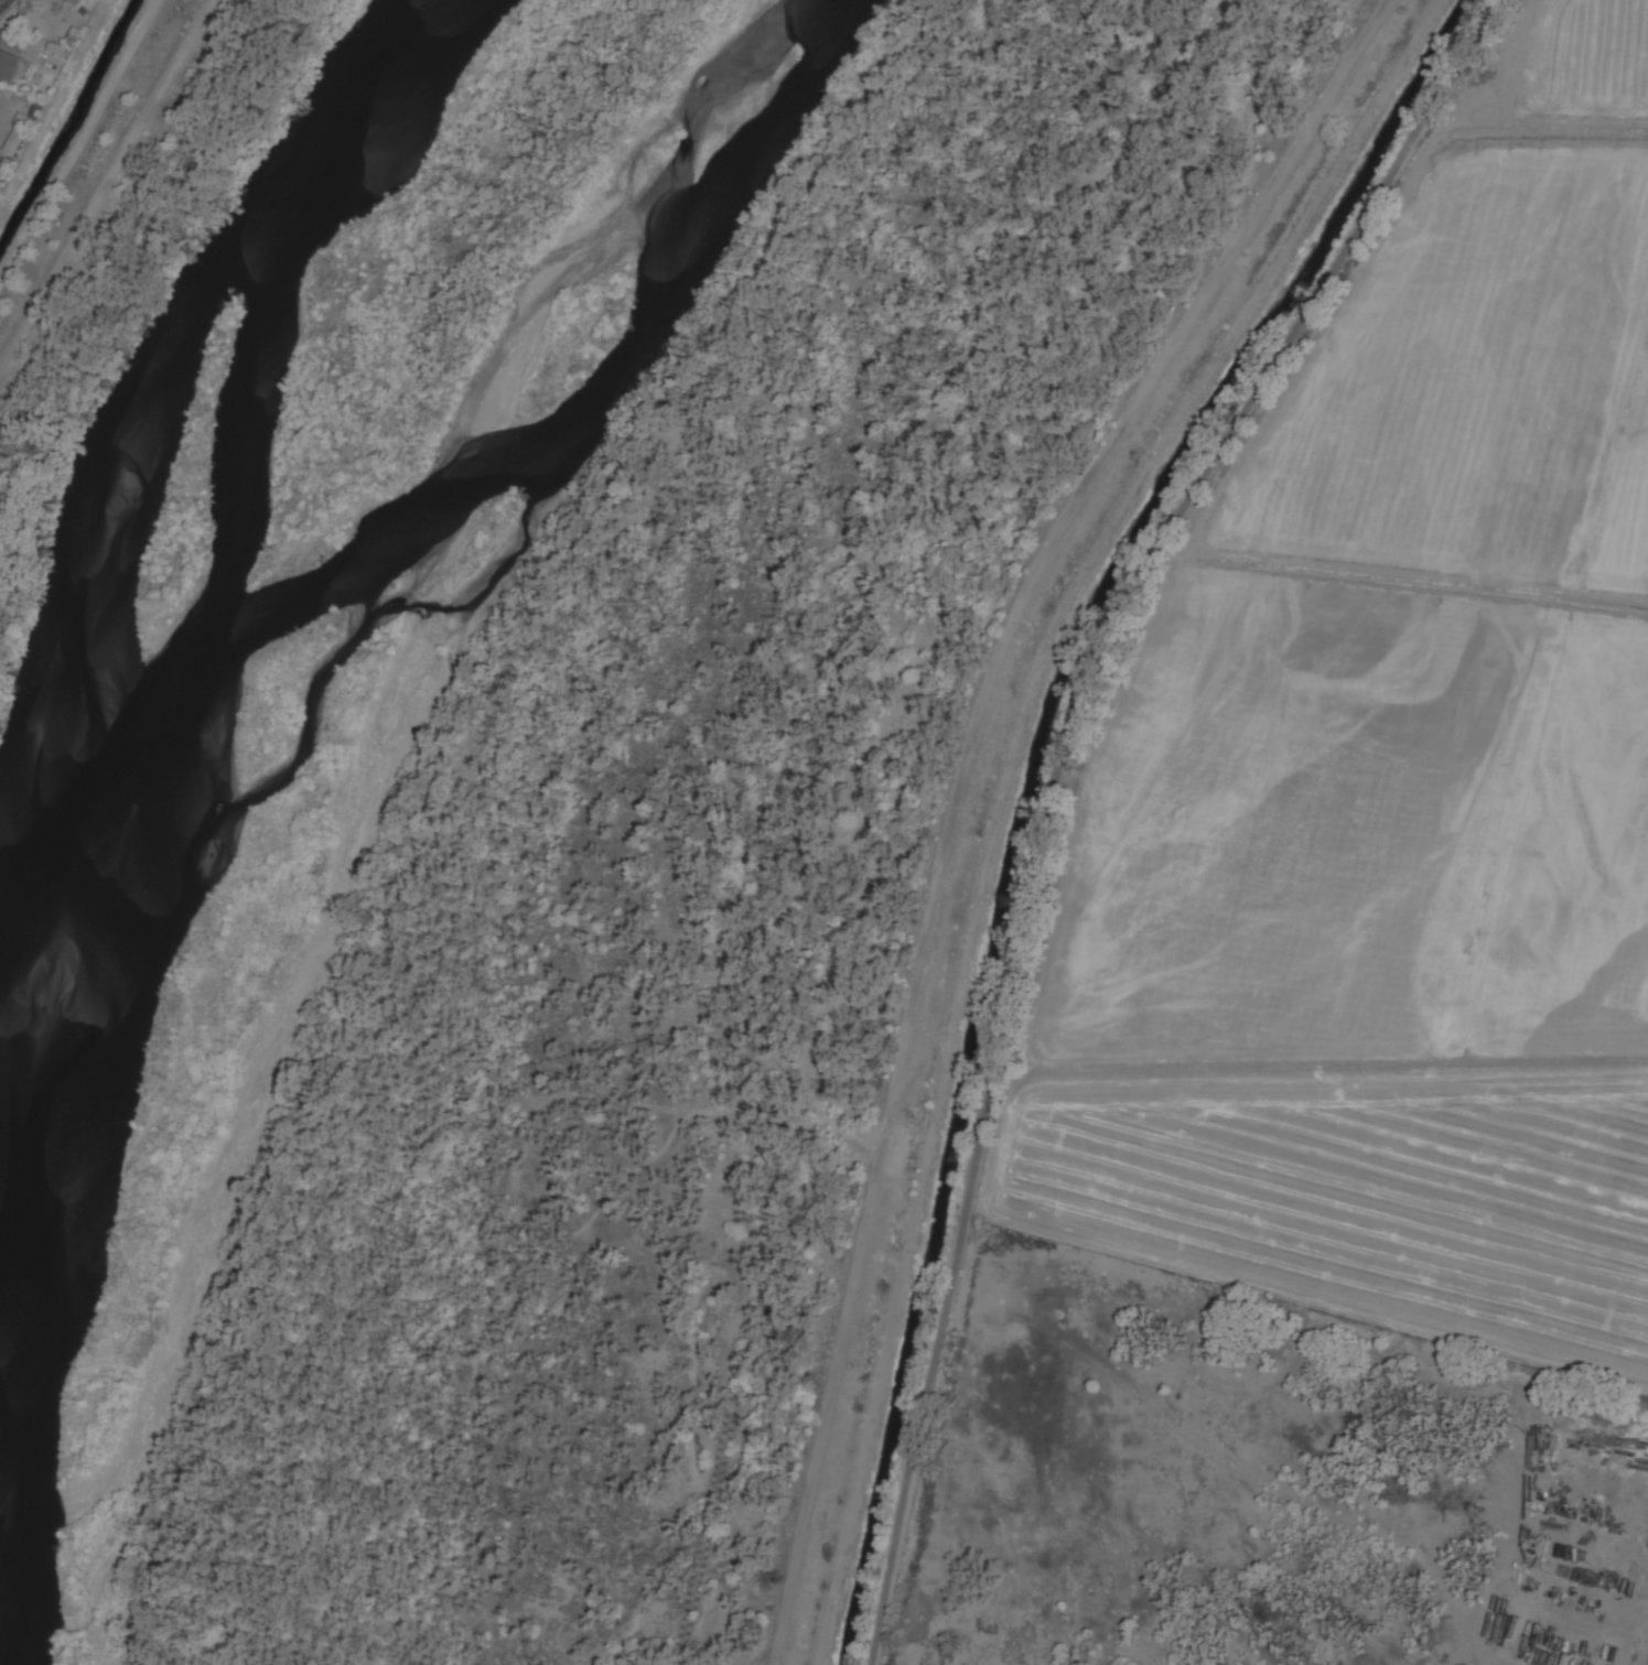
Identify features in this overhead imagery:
road: (0, 0)
building: (76, 2)
building: (12, 65)
building: (19, 133)
road: (141, 220)
river: (364, 542)
road: (1053, 781)
road: (539, 785)
road: (962, 786)
crop: (1397, 787)
road: (810, 833)

